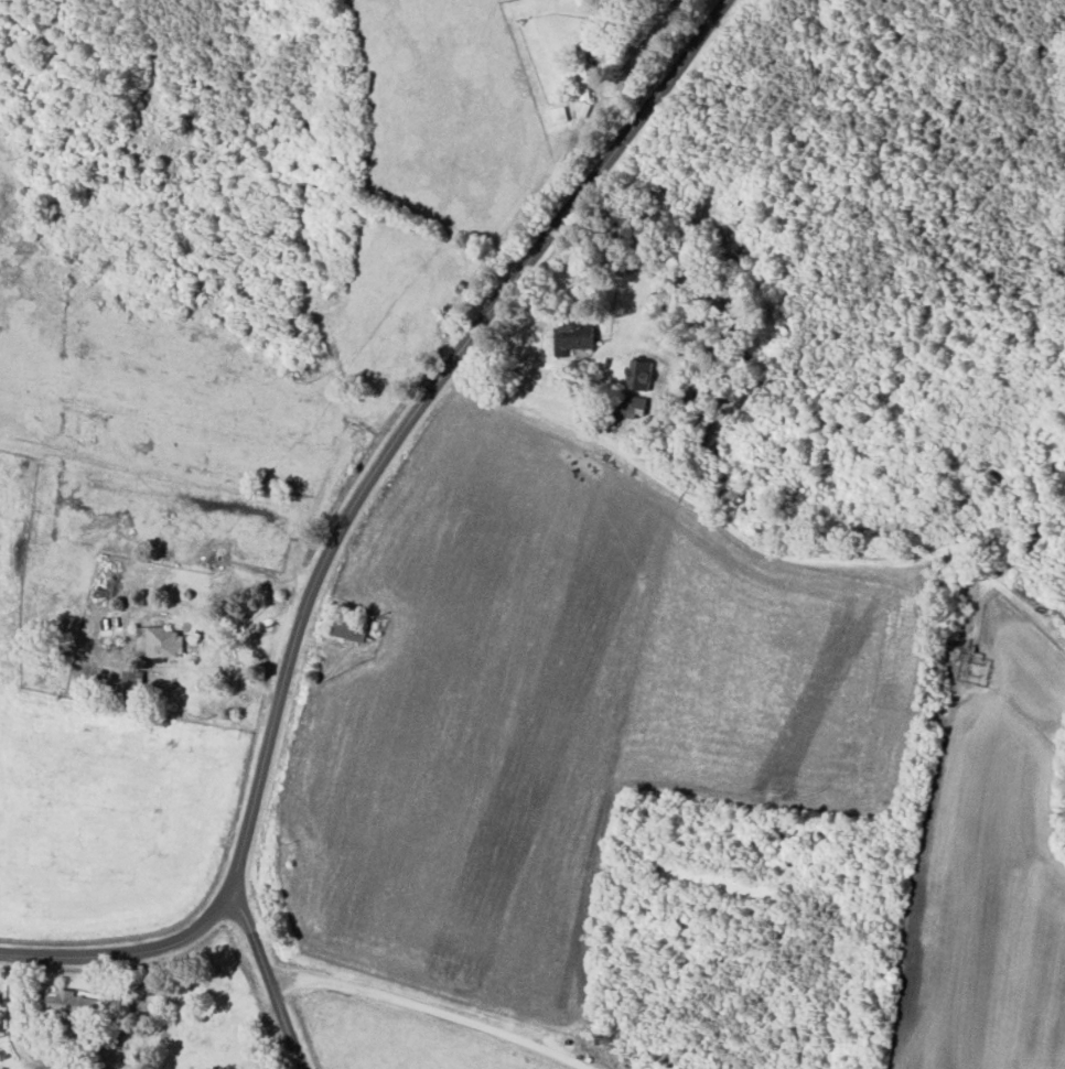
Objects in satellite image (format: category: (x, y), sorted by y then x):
road: (618, 18)
building: (583, 73)
building: (559, 112)
building: (578, 335)
building: (639, 374)
building: (631, 404)
road: (343, 518)
building: (349, 628)
building: (159, 641)
building: (110, 643)
building: (132, 682)
road: (267, 976)
building: (71, 1009)
building: (84, 1068)

